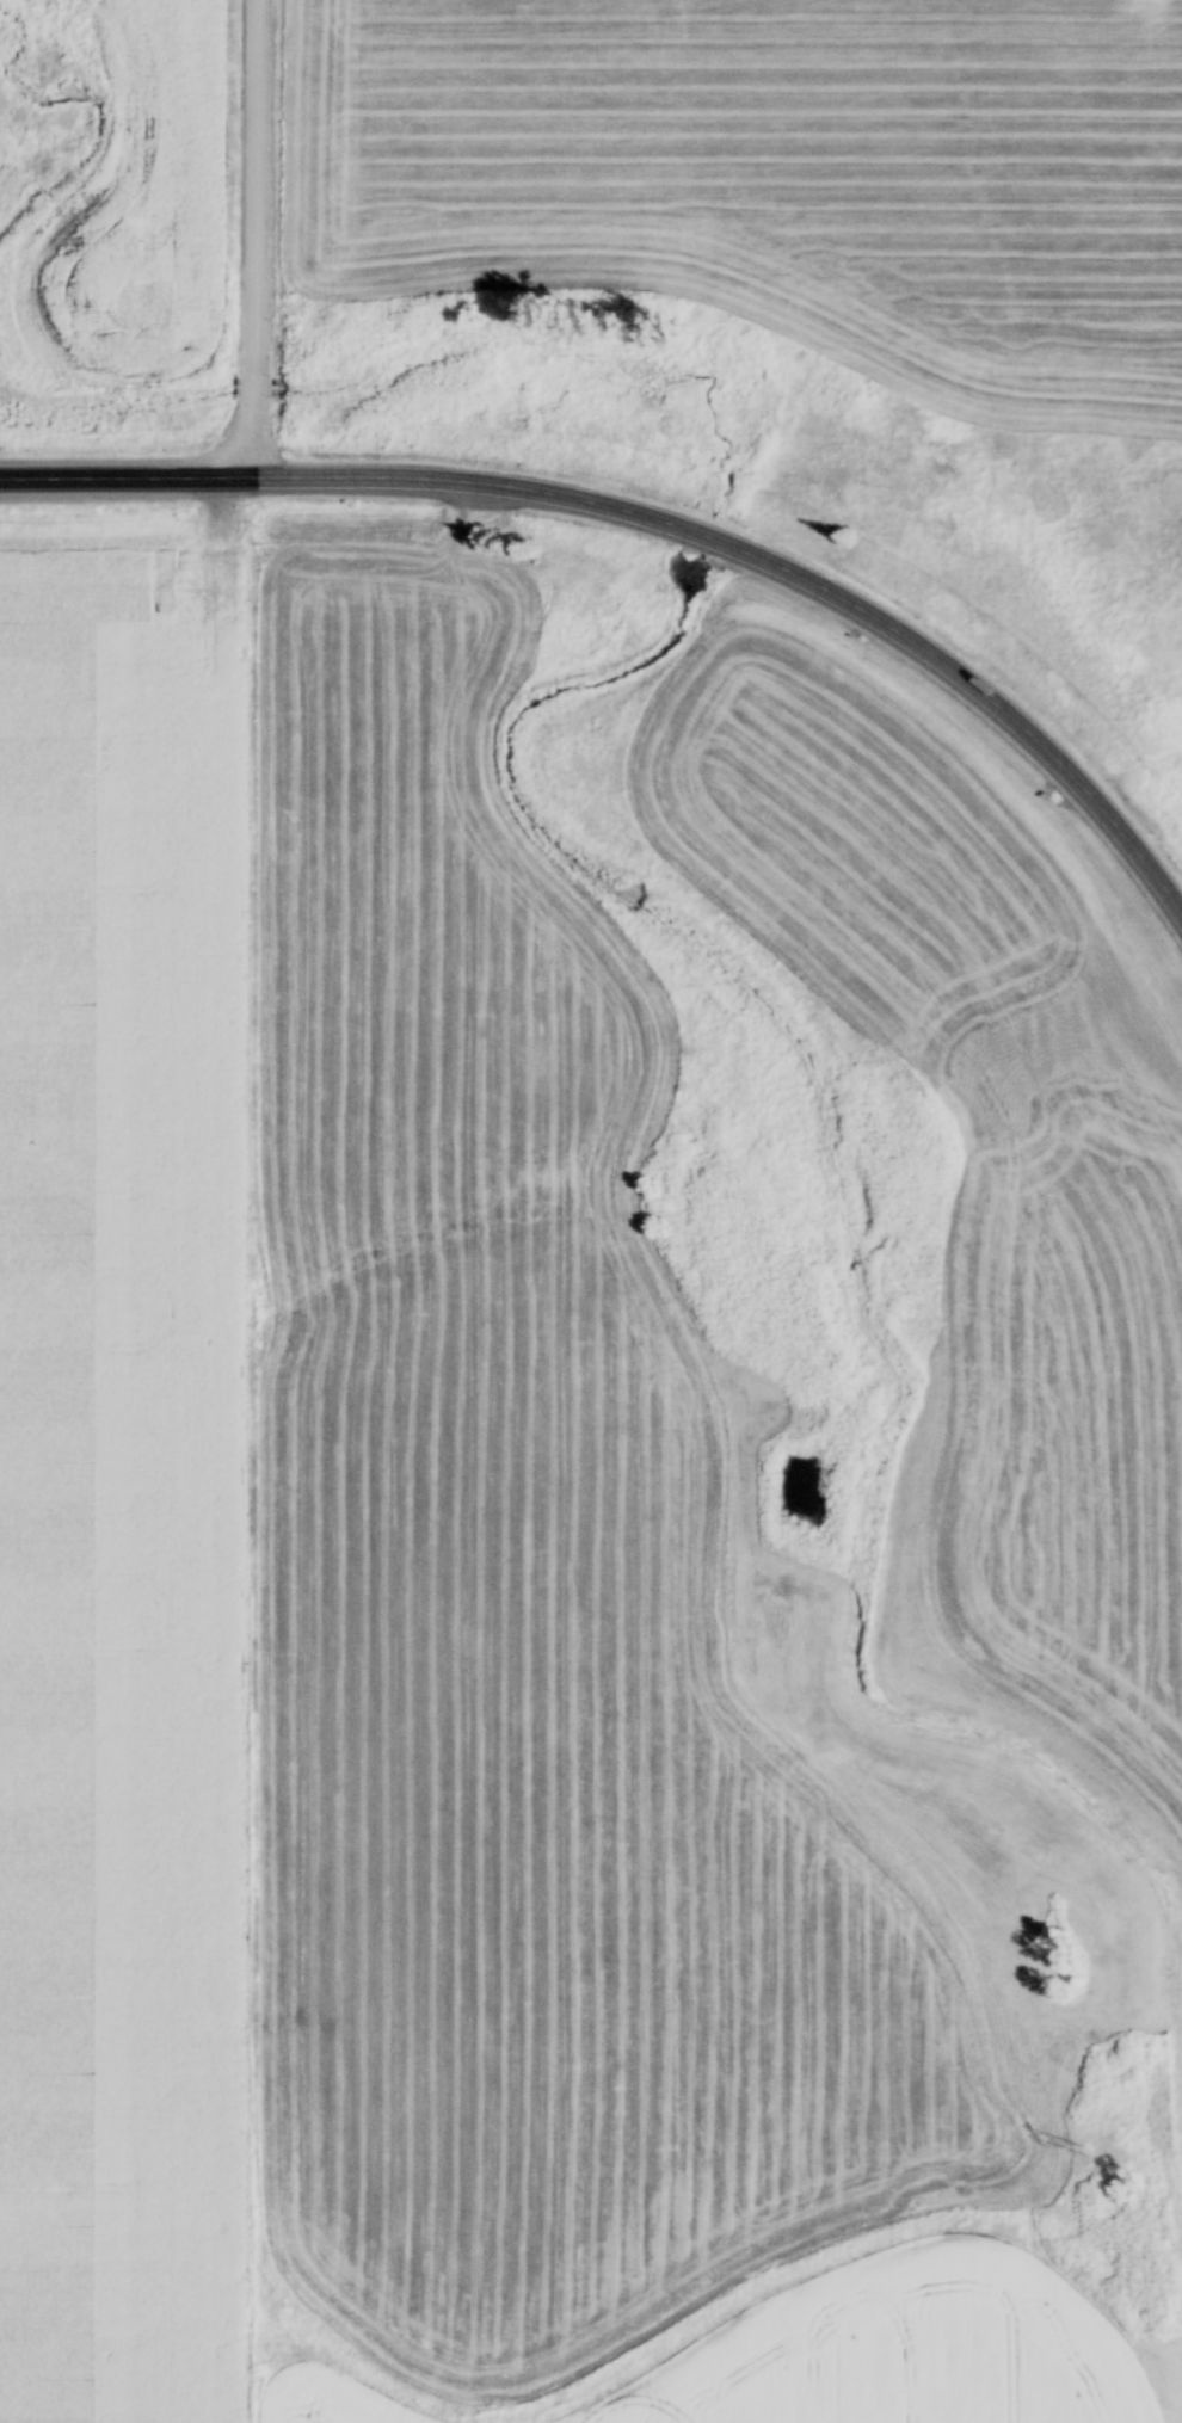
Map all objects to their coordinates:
road: (254, 241)
road: (125, 485)
road: (777, 572)
power tower: (1086, 2157)

